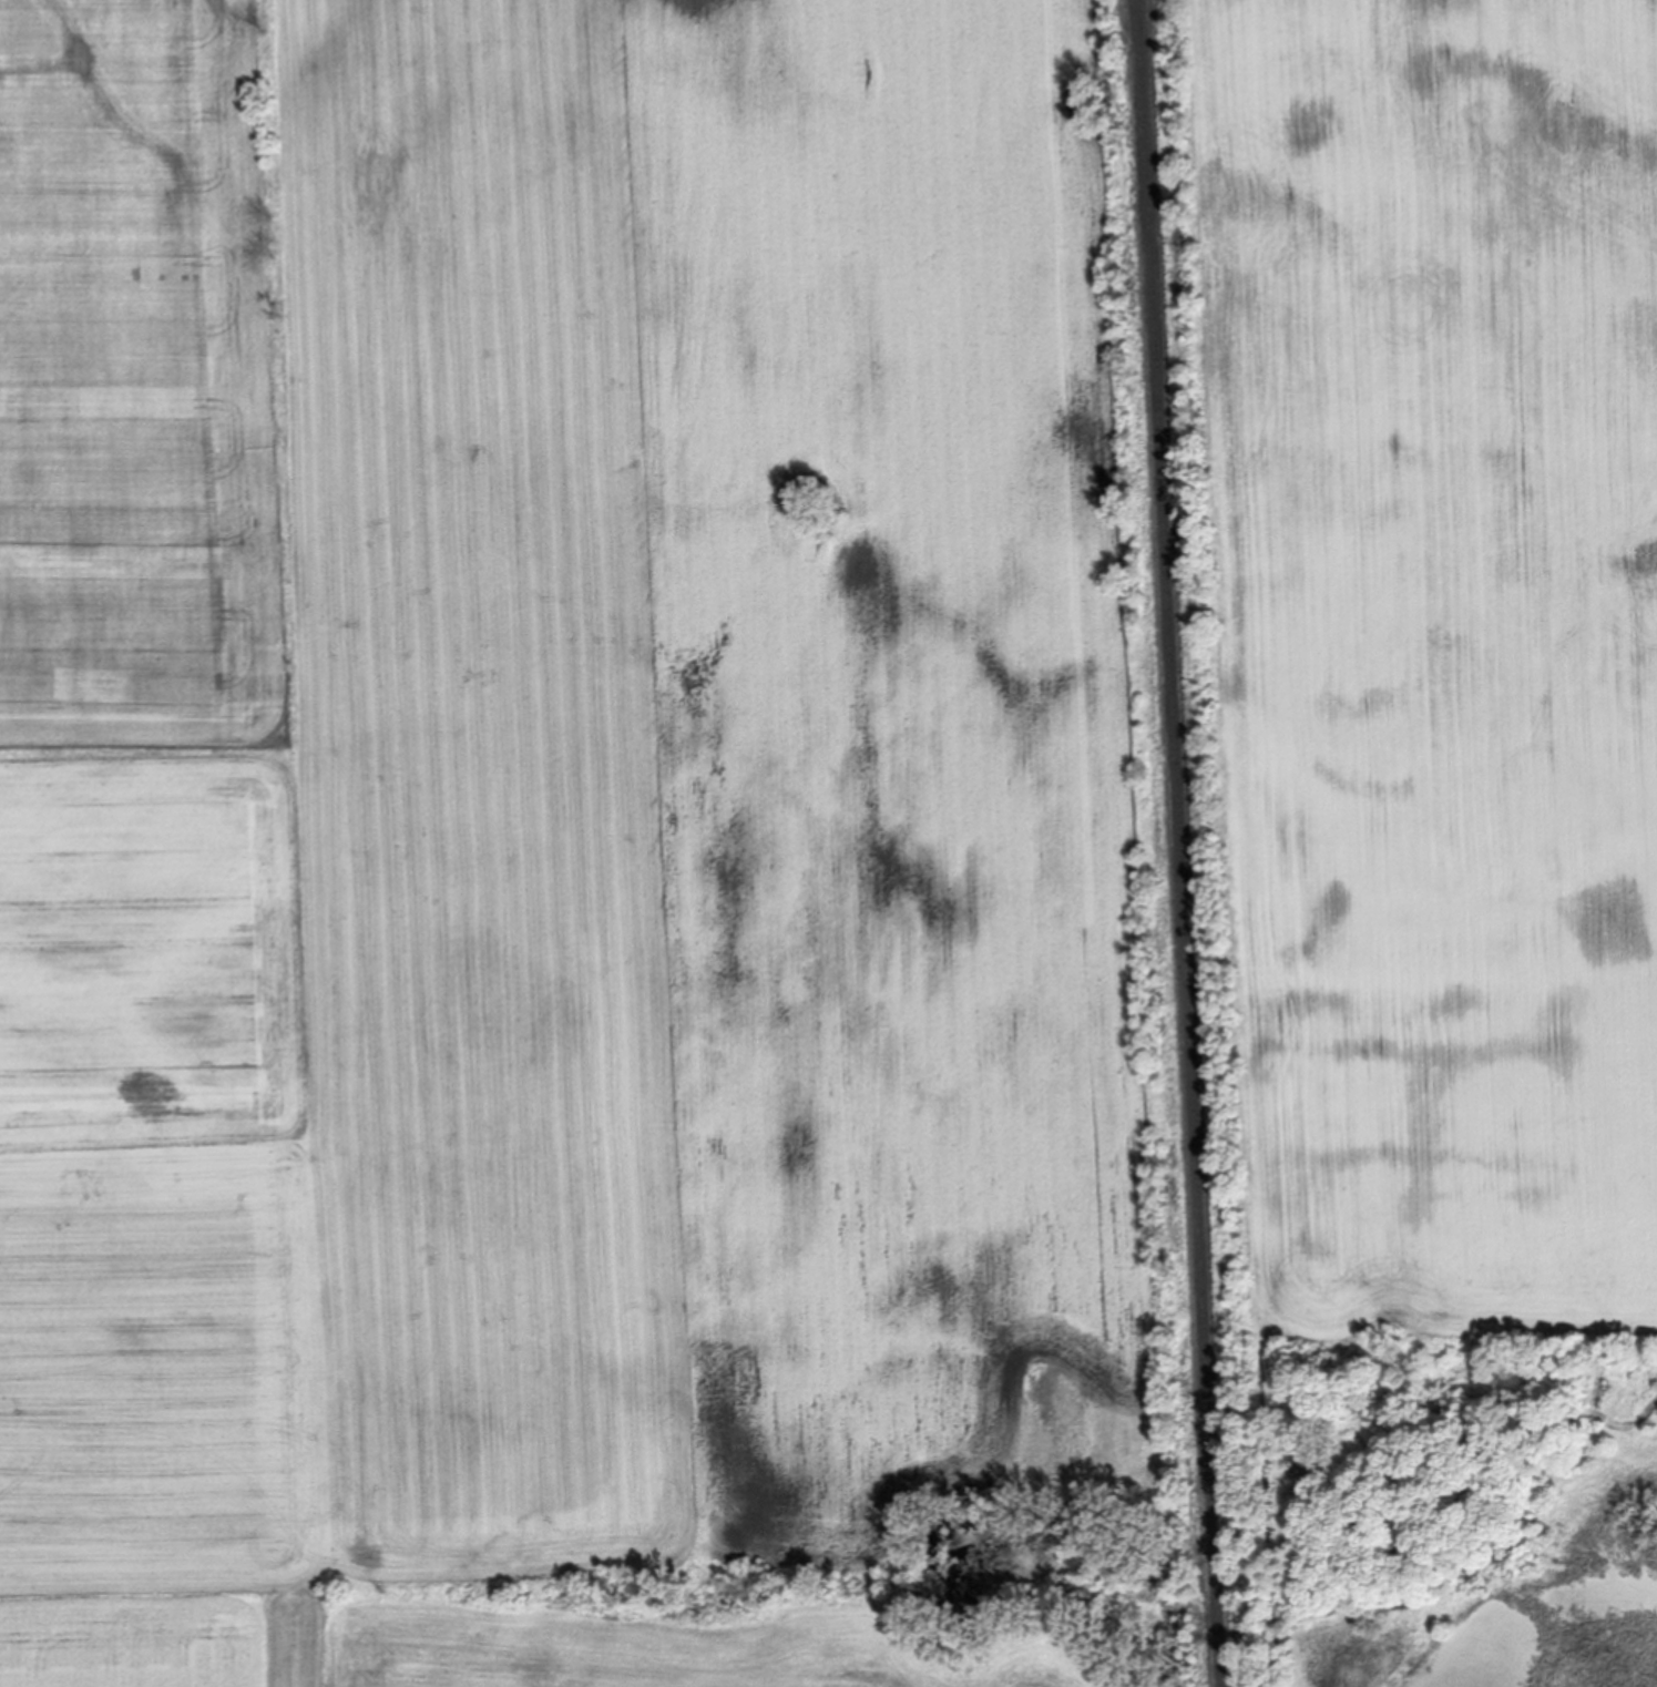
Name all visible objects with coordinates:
railway: (1174, 843)

